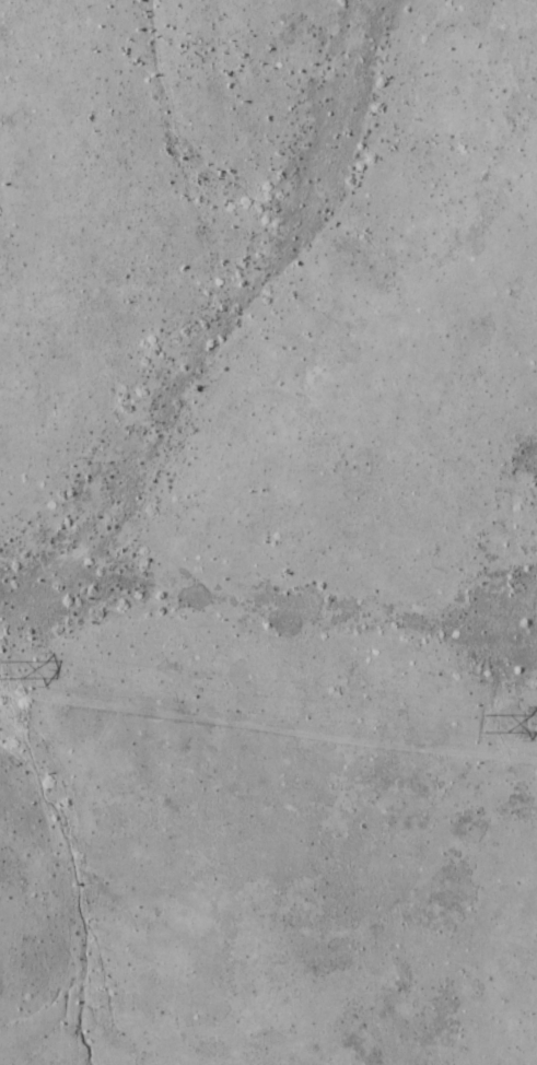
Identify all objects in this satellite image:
power tower: (2, 666)
power tower: (483, 719)

